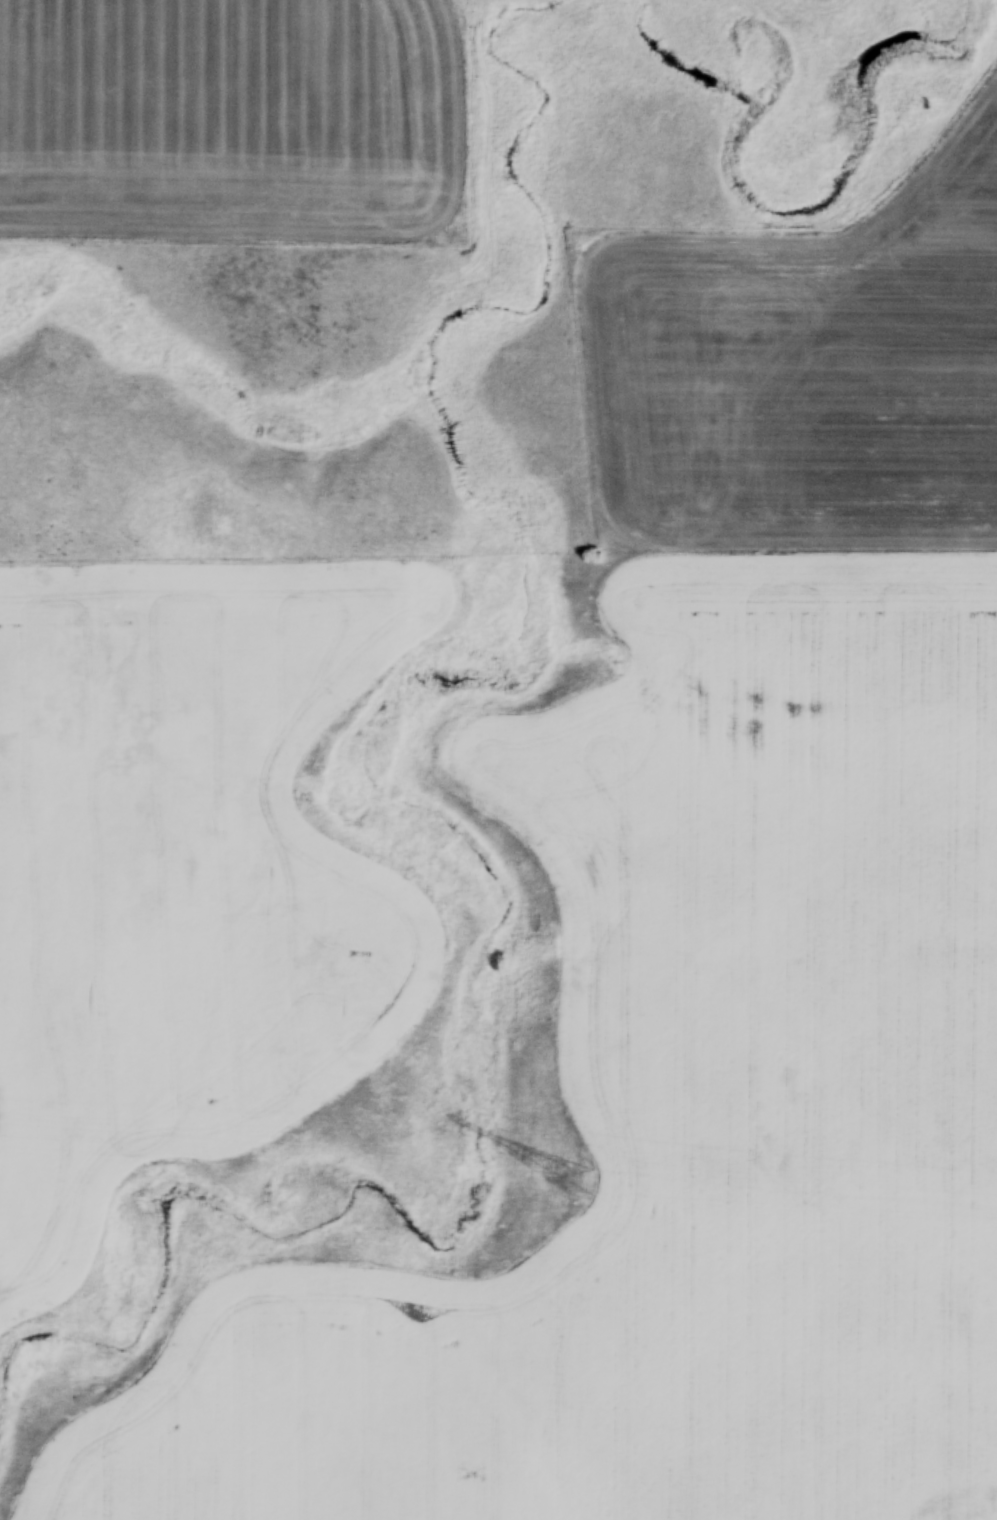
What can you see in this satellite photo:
power tower: (577, 1181)

